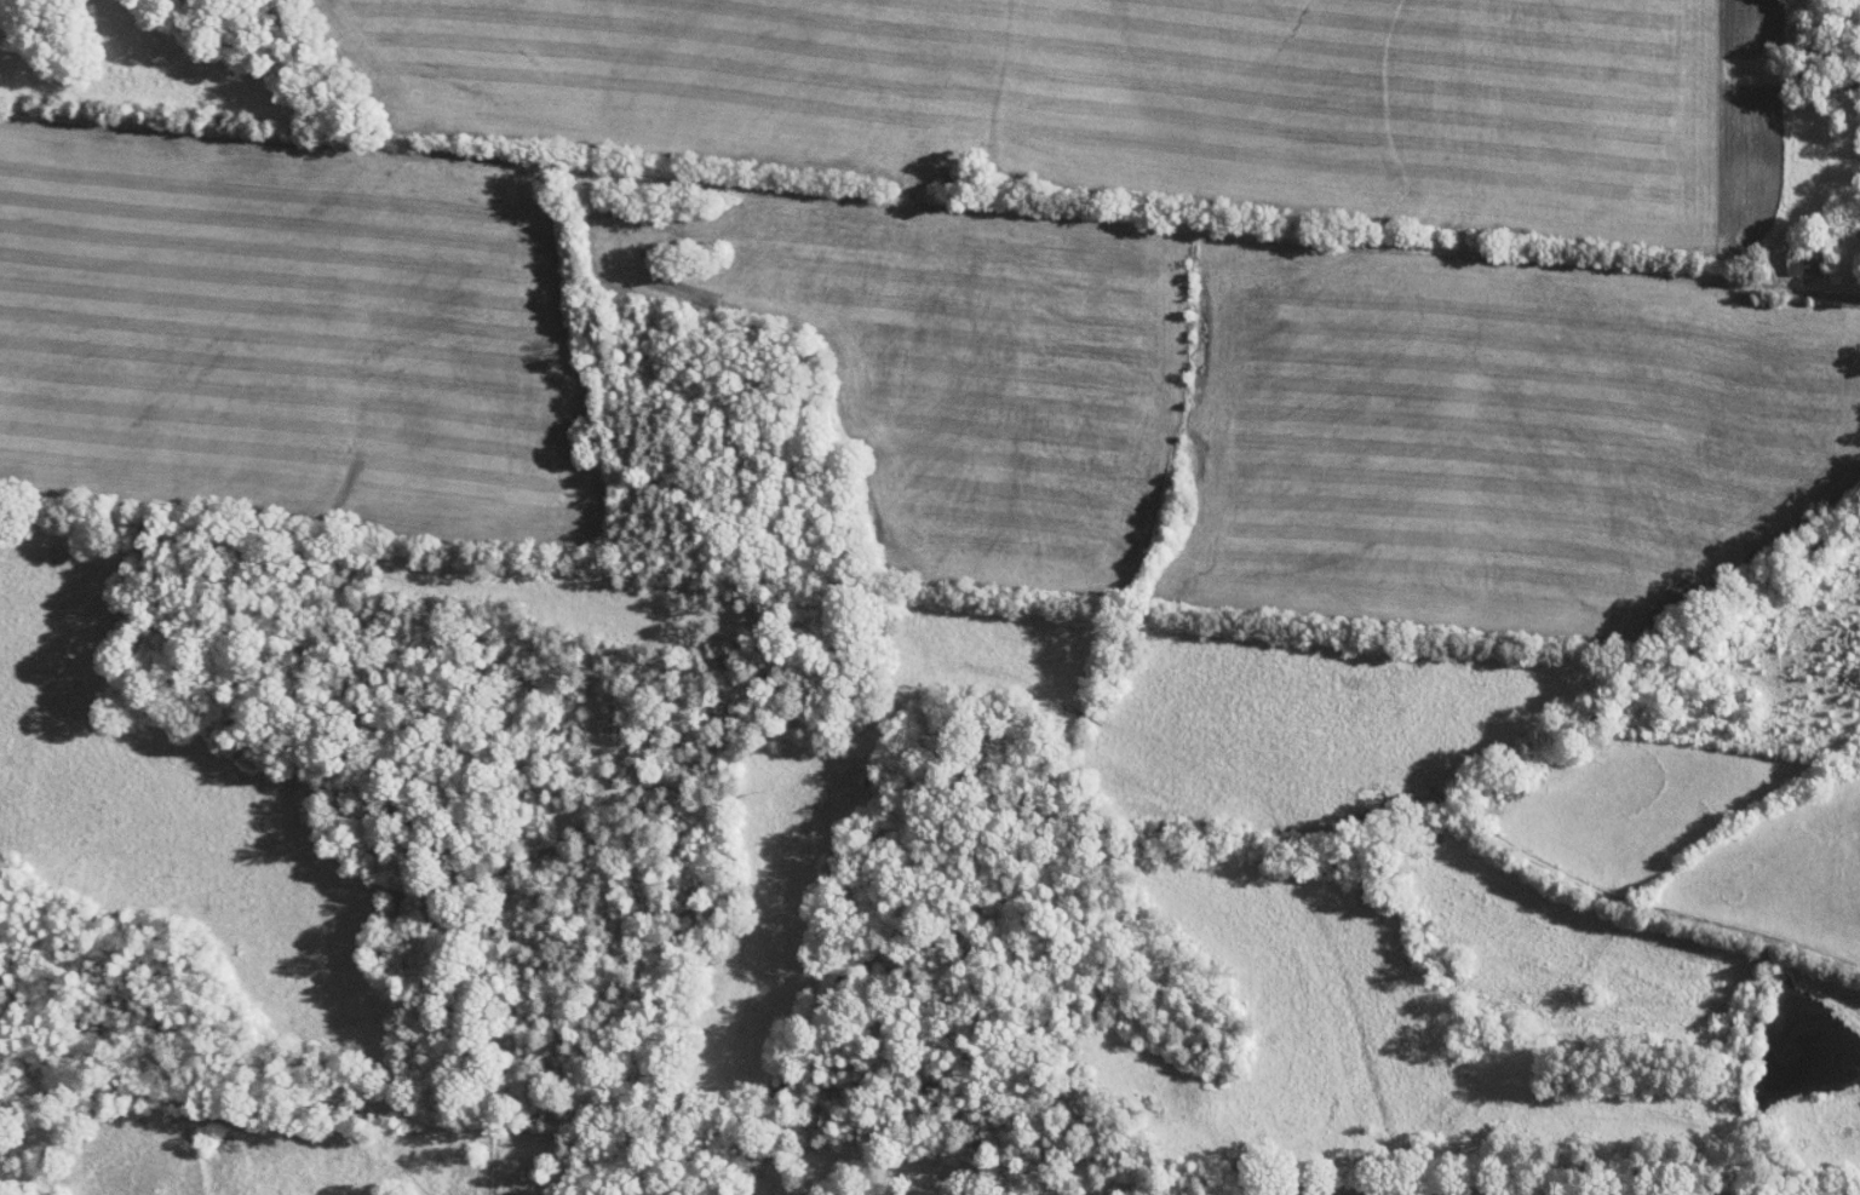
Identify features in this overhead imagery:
building: (1790, 252)
park: (1459, 1182)

